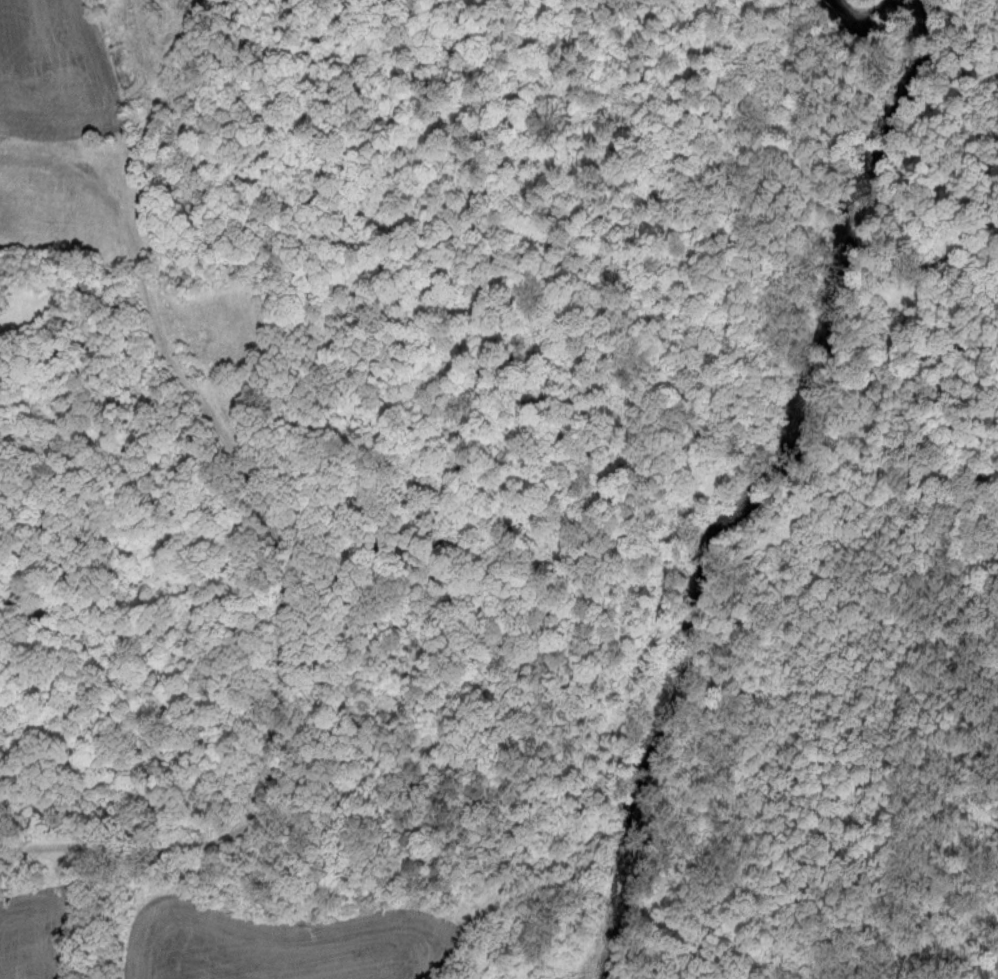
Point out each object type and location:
power tower: (157, 4)
road: (278, 552)

